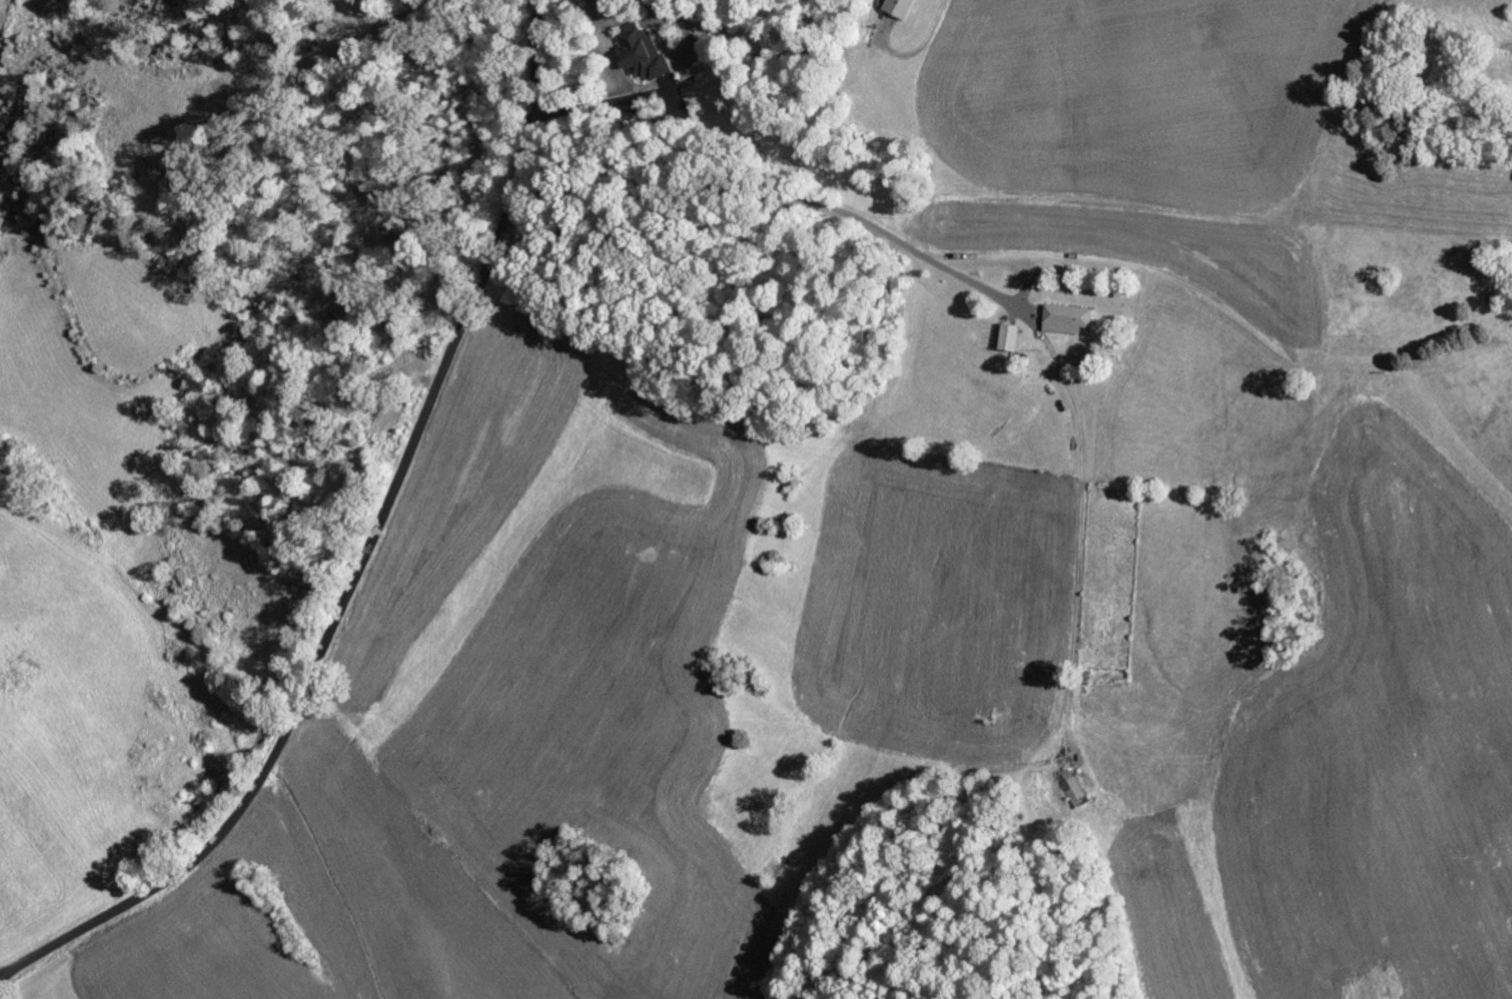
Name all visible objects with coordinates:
building: (903, 7)
building: (648, 50)
building: (1073, 318)
building: (1014, 337)
road: (365, 551)
road: (3, 972)

